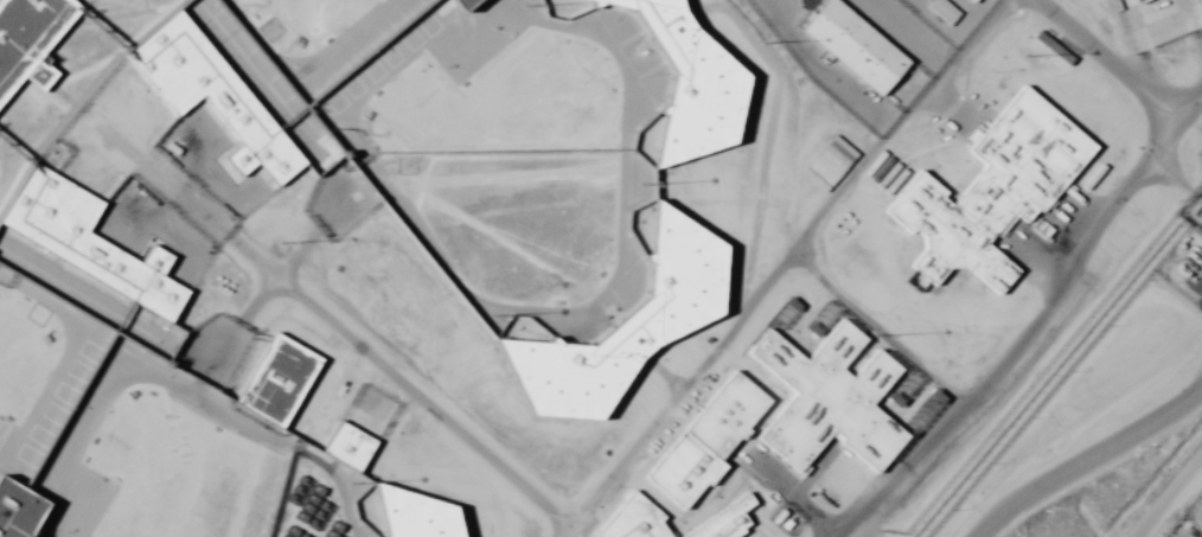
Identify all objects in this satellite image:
building: (1136, 0)
building: (460, 4)
building: (942, 12)
building: (27, 40)
building: (853, 46)
building: (677, 82)
building: (206, 91)
building: (832, 160)
building: (987, 192)
building: (83, 241)
building: (618, 321)
building: (275, 379)
building: (824, 398)
building: (925, 410)
building: (704, 440)
road: (1087, 460)
building: (15, 511)
building: (402, 513)
building: (632, 519)
building: (724, 520)

